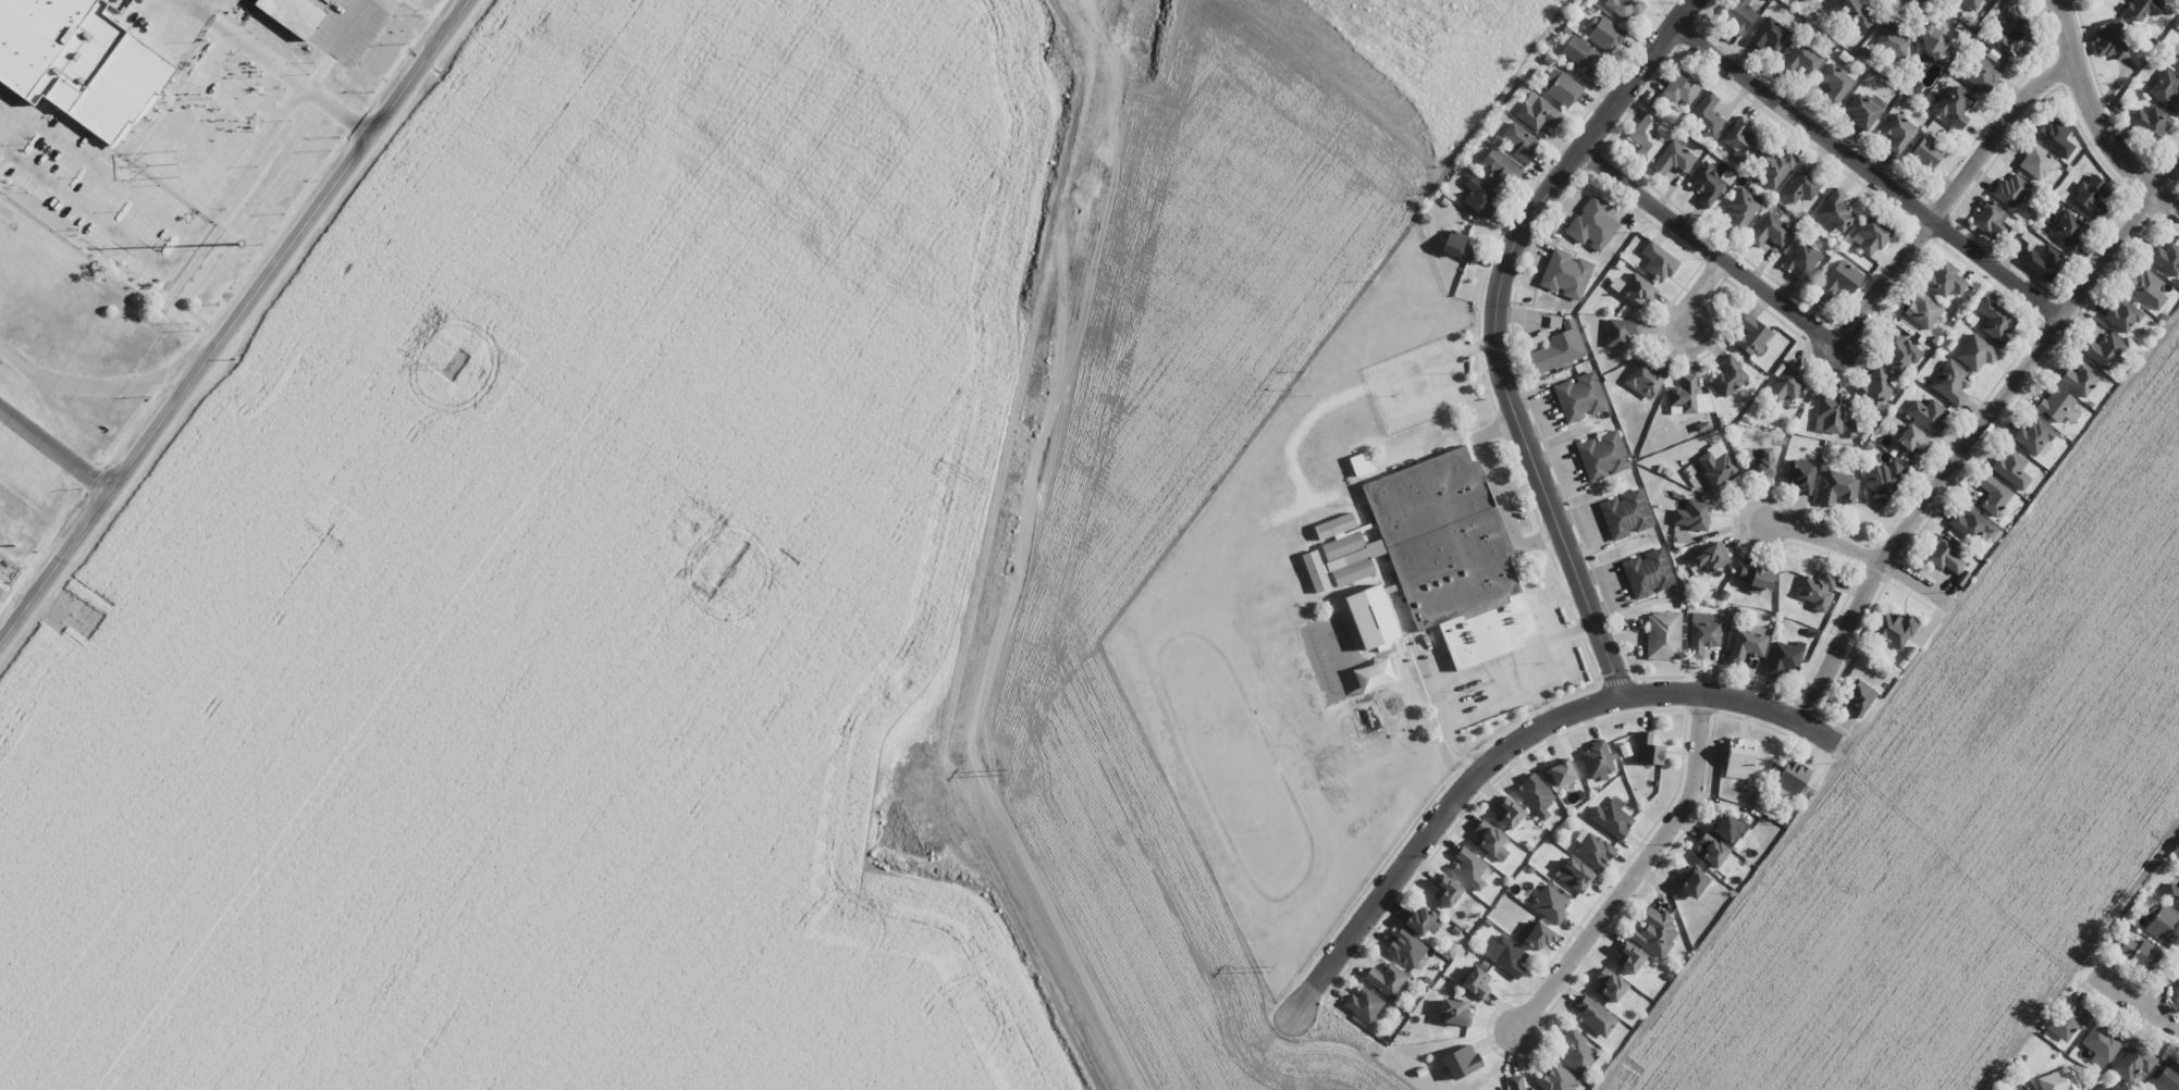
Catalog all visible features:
building: (1970, 3)
building: (1625, 7)
building: (2141, 8)
building: (293, 14)
building: (1856, 14)
building: (1738, 16)
building: (1603, 33)
building: (1768, 33)
building: (34, 37)
building: (1935, 38)
building: (2109, 39)
building: (2016, 40)
building: (1891, 42)
building: (1579, 52)
building: (2174, 57)
building: (1801, 59)
building: (1981, 74)
building: (1835, 83)
building: (118, 84)
building: (1560, 87)
building: (2165, 87)
building: (1681, 88)
building: (1954, 106)
building: (1864, 110)
building: (1538, 112)
building: (1706, 114)
road: (2093, 119)
building: (2150, 122)
building: (1898, 132)
building: (1646, 137)
building: (2055, 137)
building: (1740, 139)
building: (1521, 141)
building: (1926, 152)
building: (1674, 158)
building: (2036, 162)
power tower: (177, 164)
building: (1774, 166)
building: (1500, 169)
road: (1867, 171)
building: (1709, 184)
building: (1800, 185)
building: (2009, 189)
building: (1479, 196)
building: (2091, 196)
road: (1946, 198)
building: (1740, 209)
building: (1835, 209)
building: (1990, 220)
building: (1592, 224)
building: (2068, 230)
building: (1769, 231)
building: (1871, 235)
power tower: (238, 244)
building: (1456, 246)
road: (1706, 247)
building: (2165, 258)
building: (1800, 260)
building: (1658, 261)
building: (2043, 261)
building: (1565, 274)
building: (1839, 280)
building: (1944, 280)
building: (2146, 288)
building: (1634, 289)
road: (1697, 292)
building: (1922, 310)
building: (2122, 314)
building: (1995, 320)
road: (235, 322)
road: (1495, 329)
building: (1621, 332)
building: (1750, 334)
building: (1537, 340)
building: (1558, 348)
building: (2103, 350)
building: (1898, 351)
building: (1975, 352)
power tower: (452, 363)
building: (1728, 375)
building: (1644, 379)
building: (2080, 379)
building: (1950, 383)
building: (1786, 384)
building: (1875, 388)
road: (1382, 396)
building: (1579, 397)
building: (1687, 397)
building: (2055, 404)
building: (1830, 412)
building: (1928, 414)
road: (1975, 433)
building: (2034, 437)
building: (1912, 439)
building: (1602, 456)
building: (1760, 461)
building: (1361, 463)
building: (1715, 466)
building: (2010, 469)
building: (1800, 476)
building: (1884, 480)
building: (1837, 487)
building: (1994, 495)
building: (1624, 515)
building: (1692, 515)
building: (1969, 523)
building: (1333, 525)
power tower: (16, 545)
road: (1861, 553)
building: (1944, 555)
building: (1438, 556)
building: (1711, 557)
crop: (714, 563)
power tower: (728, 568)
building: (1647, 573)
building: (1755, 578)
building: (1960, 578)
building: (1817, 590)
building: (1370, 617)
building: (1893, 629)
building: (1701, 634)
building: (1663, 635)
building: (1746, 645)
building: (1784, 658)
building: (1858, 697)
road: (1511, 744)
building: (1648, 750)
building: (1739, 758)
building: (1597, 760)
power tower: (1001, 771)
building: (1560, 771)
building: (1792, 777)
building: (1535, 795)
crop: (1969, 813)
building: (1509, 814)
building: (1611, 818)
building: (1728, 829)
building: (1490, 840)
building: (1710, 850)
building: (1593, 851)
building: (1468, 868)
road: (1635, 871)
building: (1574, 875)
building: (1692, 882)
building: (1446, 892)
building: (2170, 894)
building: (1550, 903)
building: (1421, 921)
building: (2163, 925)
building: (1655, 932)
building: (1534, 934)
building: (1405, 949)
building: (2139, 954)
building: (1505, 955)
building: (1630, 958)
power tower: (1266, 968)
building: (1386, 980)
building: (1475, 982)
building: (1609, 984)
road: (2137, 999)
road: (2170, 1002)
building: (1363, 1004)
building: (1454, 1013)
building: (1593, 1016)
building: (2068, 1019)
building: (2101, 1044)
building: (1577, 1053)
building: (1461, 1061)
building: (2132, 1062)
building: (2166, 1077)
building: (1558, 1079)
building: (2059, 1080)
building: (1514, 1082)
building: (2102, 1087)

